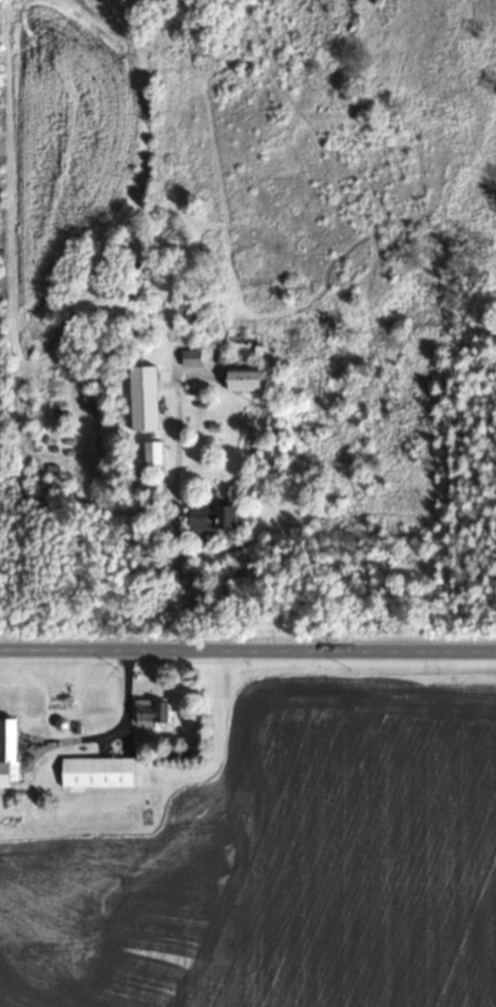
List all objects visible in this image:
building: (146, 396)
building: (158, 451)
building: (141, 484)
building: (218, 516)
road: (247, 652)
building: (154, 711)
building: (12, 752)
building: (100, 770)

